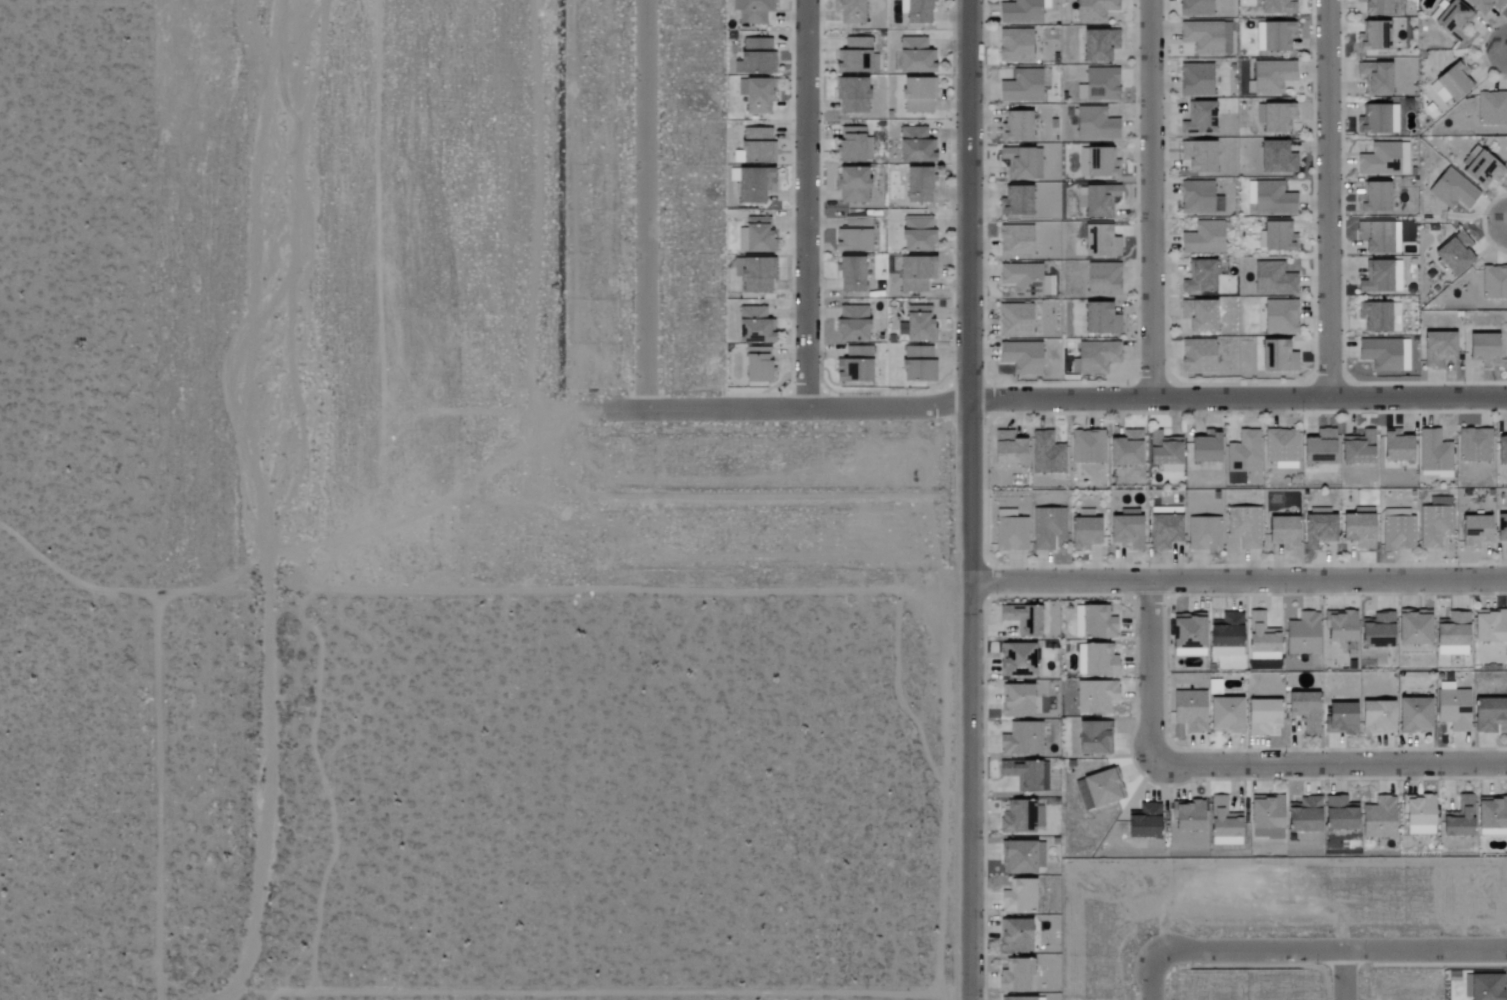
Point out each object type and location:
building: (1484, 5)
building: (1194, 7)
building: (1276, 7)
building: (1375, 7)
building: (1093, 10)
building: (753, 11)
building: (849, 11)
building: (1021, 11)
building: (917, 12)
building: (1454, 20)
building: (1201, 36)
building: (1274, 36)
building: (1374, 36)
building: (1226, 38)
building: (1014, 45)
building: (1098, 45)
building: (855, 56)
building: (914, 56)
building: (756, 57)
building: (1271, 76)
building: (1375, 77)
building: (1195, 80)
building: (1450, 83)
building: (1099, 85)
building: (1021, 86)
building: (851, 95)
building: (917, 95)
building: (757, 96)
building: (1491, 108)
building: (1275, 117)
building: (1198, 118)
building: (1378, 119)
building: (1095, 124)
building: (1015, 127)
building: (756, 146)
building: (853, 146)
building: (914, 146)
building: (1197, 156)
building: (1275, 158)
building: (1379, 160)
building: (1017, 163)
building: (1101, 163)
building: (1480, 169)
building: (753, 185)
building: (851, 185)
building: (916, 185)
building: (1452, 190)
building: (1373, 197)
building: (1199, 198)
building: (1269, 198)
building: (1097, 200)
road: (1151, 200)
road: (1329, 200)
building: (1015, 201)
road: (809, 203)
road: (647, 204)
building: (915, 234)
building: (755, 235)
building: (853, 236)
building: (1275, 237)
building: (1374, 237)
building: (1203, 238)
building: (1395, 238)
building: (1100, 240)
building: (1014, 242)
building: (1454, 253)
building: (915, 273)
building: (754, 274)
building: (849, 274)
building: (1199, 277)
building: (1381, 277)
building: (1273, 278)
building: (1102, 279)
building: (1026, 280)
building: (1494, 282)
building: (1198, 315)
building: (1280, 316)
building: (1379, 317)
building: (1099, 319)
building: (1014, 320)
building: (851, 324)
building: (918, 324)
building: (753, 325)
building: (1439, 348)
building: (1482, 349)
building: (1384, 354)
building: (1197, 355)
building: (1021, 357)
building: (1094, 357)
building: (1279, 357)
building: (755, 365)
building: (917, 365)
building: (853, 366)
road: (1238, 400)
road: (792, 406)
building: (1474, 445)
building: (1395, 446)
building: (1087, 447)
building: (1204, 448)
building: (1280, 448)
building: (1318, 448)
building: (1124, 449)
building: (1162, 449)
building: (1357, 449)
building: (1006, 450)
building: (1501, 450)
building: (1434, 452)
building: (1243, 453)
building: (1046, 454)
road: (971, 499)
building: (1439, 502)
building: (1434, 526)
building: (1244, 527)
building: (1047, 528)
building: (1357, 528)
building: (1501, 528)
building: (1125, 529)
building: (1397, 529)
building: (1317, 531)
building: (1163, 532)
building: (1473, 532)
building: (1084, 533)
building: (1279, 533)
building: (1203, 534)
road: (1239, 578)
road: (619, 586)
building: (1021, 619)
building: (1096, 623)
building: (1339, 627)
building: (1412, 627)
building: (1489, 627)
building: (1451, 631)
building: (1376, 632)
building: (1188, 635)
building: (1261, 635)
building: (1301, 635)
building: (1225, 636)
building: (1451, 651)
building: (1016, 660)
building: (1096, 661)
building: (1095, 697)
building: (1016, 701)
building: (1452, 709)
building: (1304, 710)
building: (1188, 711)
building: (1225, 715)
building: (1488, 715)
building: (1413, 716)
building: (1261, 717)
building: (1376, 718)
building: (1339, 719)
road: (156, 738)
building: (1021, 739)
building: (1093, 739)
road: (1238, 768)
building: (1026, 774)
building: (1099, 787)
building: (1491, 812)
building: (1338, 813)
building: (1418, 814)
building: (1186, 815)
building: (1303, 815)
building: (1016, 816)
building: (1379, 816)
building: (1265, 817)
building: (1458, 818)
building: (1143, 821)
building: (1222, 823)
building: (1021, 857)
building: (1017, 895)
building: (1013, 935)
road: (1334, 952)
road: (1153, 974)
building: (1015, 975)
road: (1345, 976)
road: (601, 992)
road: (225, 994)
building: (1019, 998)

